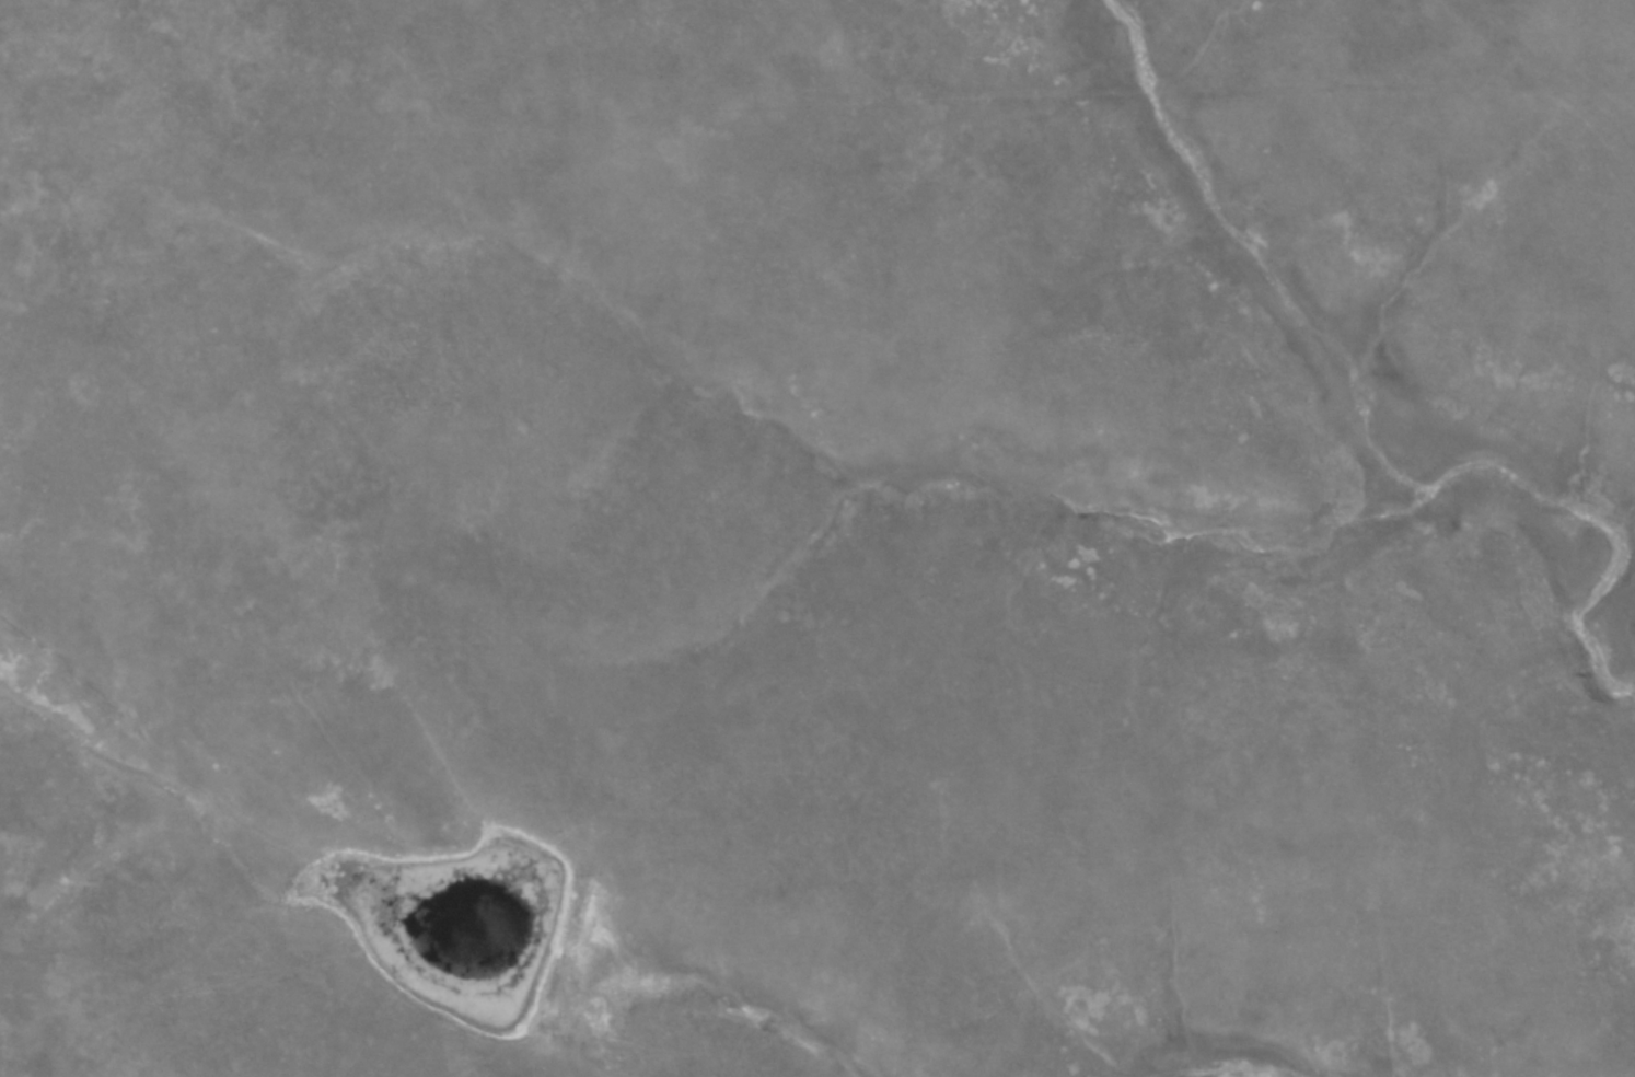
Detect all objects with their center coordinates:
road: (1567, 56)

